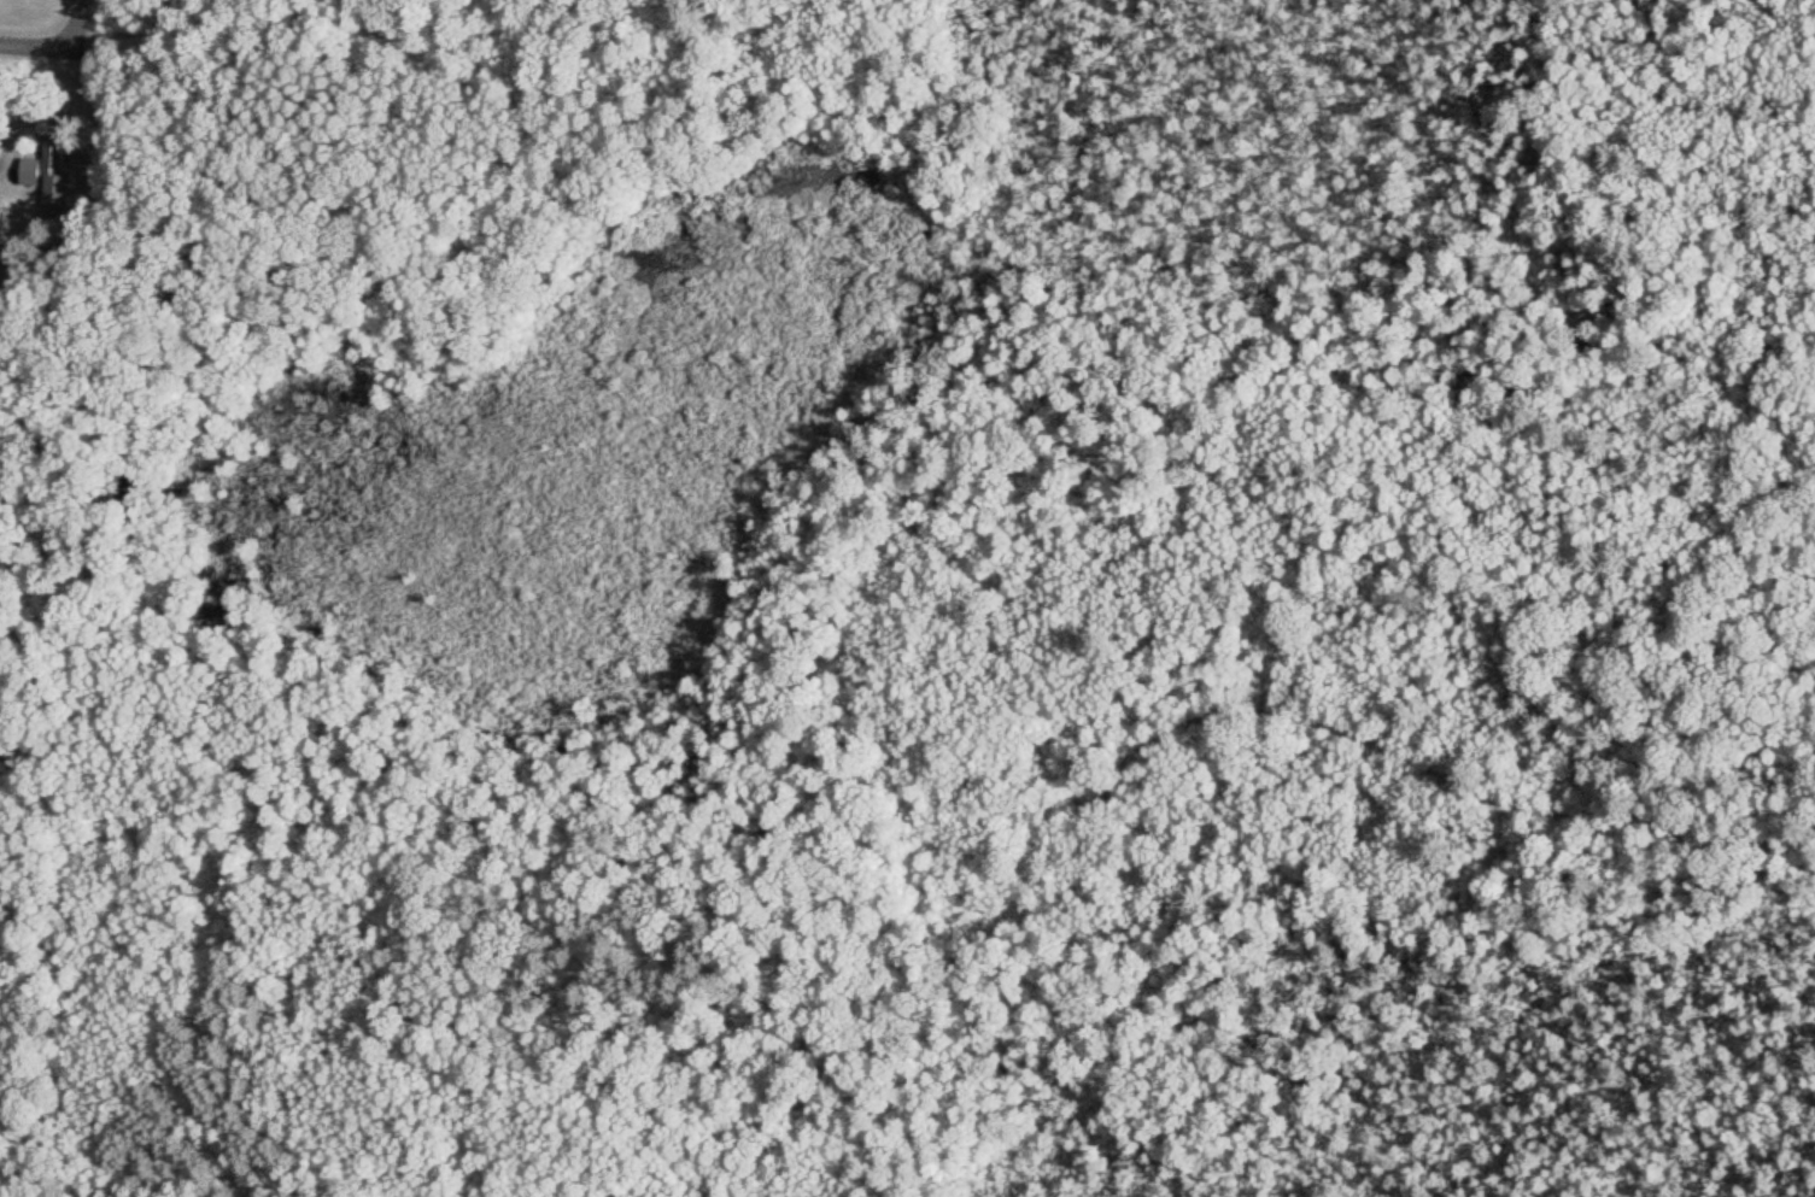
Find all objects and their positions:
road: (80, 23)
road: (33, 47)
building: (53, 172)

